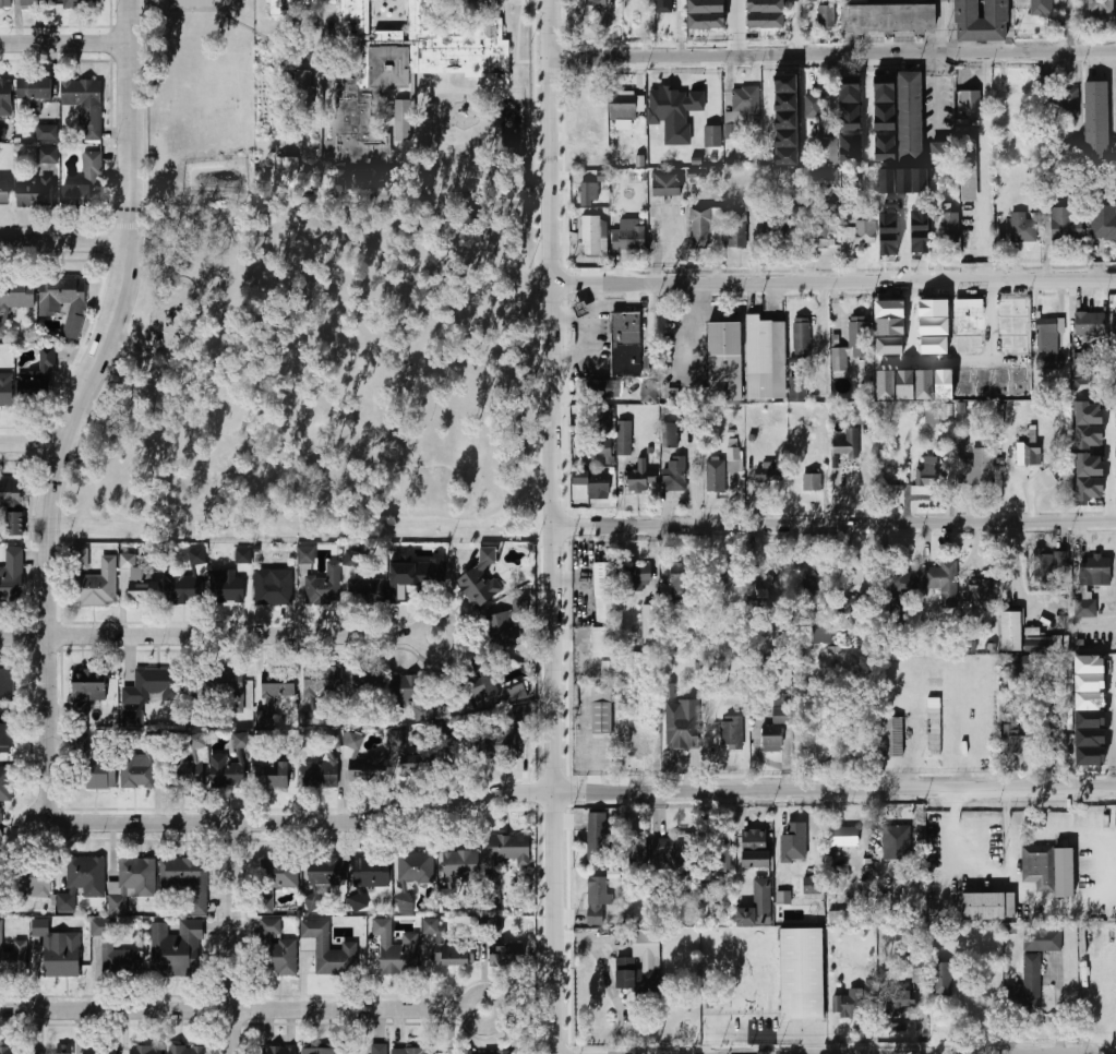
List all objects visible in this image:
building: (812, 0)
building: (597, 2)
building: (855, 2)
building: (194, 3)
building: (5, 4)
building: (40, 4)
building: (84, 4)
park: (194, 4)
building: (293, 4)
building: (664, 7)
building: (1041, 7)
building: (1101, 8)
building: (767, 13)
building: (391, 14)
building: (707, 14)
building: (827, 17)
building: (888, 19)
building: (981, 21)
road: (1010, 27)
road: (938, 28)
road: (952, 28)
road: (741, 29)
road: (799, 29)
road: (64, 41)
road: (833, 58)
park: (204, 65)
building: (398, 73)
building: (35, 88)
road: (937, 89)
building: (299, 91)
building: (5, 98)
building: (781, 103)
building: (885, 103)
building: (850, 104)
building: (970, 104)
building: (85, 105)
building: (744, 106)
building: (814, 106)
park: (204, 107)
building: (622, 107)
building: (1064, 108)
building: (700, 110)
building: (674, 112)
building: (909, 119)
building: (405, 120)
building: (1096, 122)
building: (2, 132)
building: (47, 132)
building: (850, 147)
building: (886, 147)
building: (830, 151)
building: (1066, 152)
building: (47, 155)
building: (969, 168)
building: (289, 169)
building: (374, 179)
building: (826, 179)
building: (85, 184)
building: (665, 185)
building: (5, 193)
building: (35, 194)
building: (588, 194)
building: (751, 204)
building: (1066, 223)
building: (1103, 223)
building: (900, 227)
building: (700, 228)
building: (949, 228)
building: (1023, 228)
building: (737, 231)
building: (823, 231)
building: (779, 232)
building: (865, 232)
building: (628, 233)
building: (591, 235)
road: (63, 243)
road: (835, 275)
building: (16, 292)
building: (64, 301)
building: (584, 309)
building: (1090, 324)
building: (1115, 324)
building: (857, 332)
building: (802, 335)
building: (1051, 335)
road: (132, 345)
building: (627, 345)
road: (158, 350)
building: (768, 358)
road: (982, 358)
building: (727, 360)
building: (1051, 361)
building: (1082, 371)
building: (38, 378)
park: (316, 382)
building: (602, 388)
building: (797, 388)
building: (5, 390)
building: (648, 393)
road: (554, 395)
road: (73, 406)
building: (864, 414)
building: (935, 417)
building: (598, 420)
building: (1089, 424)
road: (508, 430)
building: (670, 434)
building: (623, 438)
building: (848, 444)
road: (31, 445)
building: (600, 452)
building: (1027, 453)
building: (735, 457)
road: (1109, 466)
building: (977, 467)
building: (928, 472)
building: (674, 474)
building: (767, 474)
building: (715, 476)
building: (639, 477)
building: (1090, 477)
building: (1047, 479)
building: (812, 482)
building: (590, 486)
building: (12, 502)
road: (835, 525)
building: (243, 555)
building: (305, 555)
road: (1011, 559)
building: (352, 560)
building: (1048, 565)
building: (681, 568)
building: (1095, 571)
building: (11, 574)
building: (415, 576)
building: (771, 576)
building: (637, 577)
building: (723, 578)
building: (92, 579)
building: (480, 580)
building: (944, 580)
building: (139, 582)
building: (187, 582)
building: (904, 582)
building: (223, 584)
building: (812, 584)
building: (323, 585)
building: (680, 587)
building: (271, 588)
building: (376, 589)
building: (605, 592)
building: (981, 597)
building: (1085, 609)
building: (849, 613)
building: (933, 621)
building: (649, 626)
building: (503, 628)
building: (1011, 631)
building: (821, 634)
road: (208, 635)
road: (452, 635)
building: (603, 642)
building: (1039, 645)
building: (1088, 664)
building: (1020, 666)
building: (609, 670)
building: (320, 682)
building: (277, 683)
building: (1088, 683)
building: (5, 684)
building: (152, 686)
building: (493, 687)
building: (87, 691)
building: (226, 691)
building: (670, 691)
building: (394, 692)
building: (1088, 702)
building: (934, 706)
building: (601, 710)
building: (131, 719)
building: (1088, 719)
building: (683, 723)
building: (777, 723)
building: (624, 728)
building: (935, 731)
building: (732, 732)
building: (5, 735)
building: (509, 735)
building: (892, 738)
building: (1089, 739)
building: (395, 740)
building: (83, 741)
building: (240, 741)
building: (1016, 741)
building: (351, 743)
building: (1056, 743)
building: (641, 747)
building: (453, 752)
building: (1089, 757)
building: (416, 764)
building: (189, 767)
building: (140, 769)
building: (363, 770)
building: (224, 772)
building: (272, 775)
building: (320, 775)
building: (98, 776)
building: (5, 784)
road: (836, 789)
road: (308, 822)
road: (952, 823)
building: (0, 828)
building: (843, 837)
building: (794, 838)
building: (595, 839)
building: (898, 842)
building: (509, 849)
building: (754, 849)
building: (636, 850)
building: (669, 851)
building: (718, 854)
building: (460, 866)
building: (415, 867)
building: (1049, 870)
building: (278, 872)
building: (326, 872)
building: (371, 873)
building: (28, 881)
building: (82, 881)
building: (185, 881)
building: (130, 883)
building: (812, 885)
building: (493, 893)
building: (844, 893)
building: (443, 896)
building: (783, 897)
building: (597, 899)
building: (359, 902)
building: (758, 906)
building: (988, 907)
building: (837, 917)
road: (557, 923)
building: (1, 926)
building: (490, 926)
building: (39, 927)
building: (949, 934)
road: (237, 937)
building: (1043, 939)
building: (176, 948)
building: (326, 948)
building: (449, 948)
building: (274, 949)
building: (396, 949)
building: (113, 950)
building: (63, 956)
building: (506, 957)
building: (14, 958)
building: (625, 963)
building: (920, 969)
building: (801, 973)
building: (943, 979)
building: (1027, 987)
building: (851, 1003)
building: (900, 1003)
road: (506, 1007)
road: (235, 1009)
building: (62, 1049)
building: (99, 1049)
building: (375, 1049)
building: (13, 1050)
building: (145, 1050)
building: (185, 1050)
building: (276, 1050)
building: (321, 1051)
building: (407, 1051)
building: (484, 1052)

